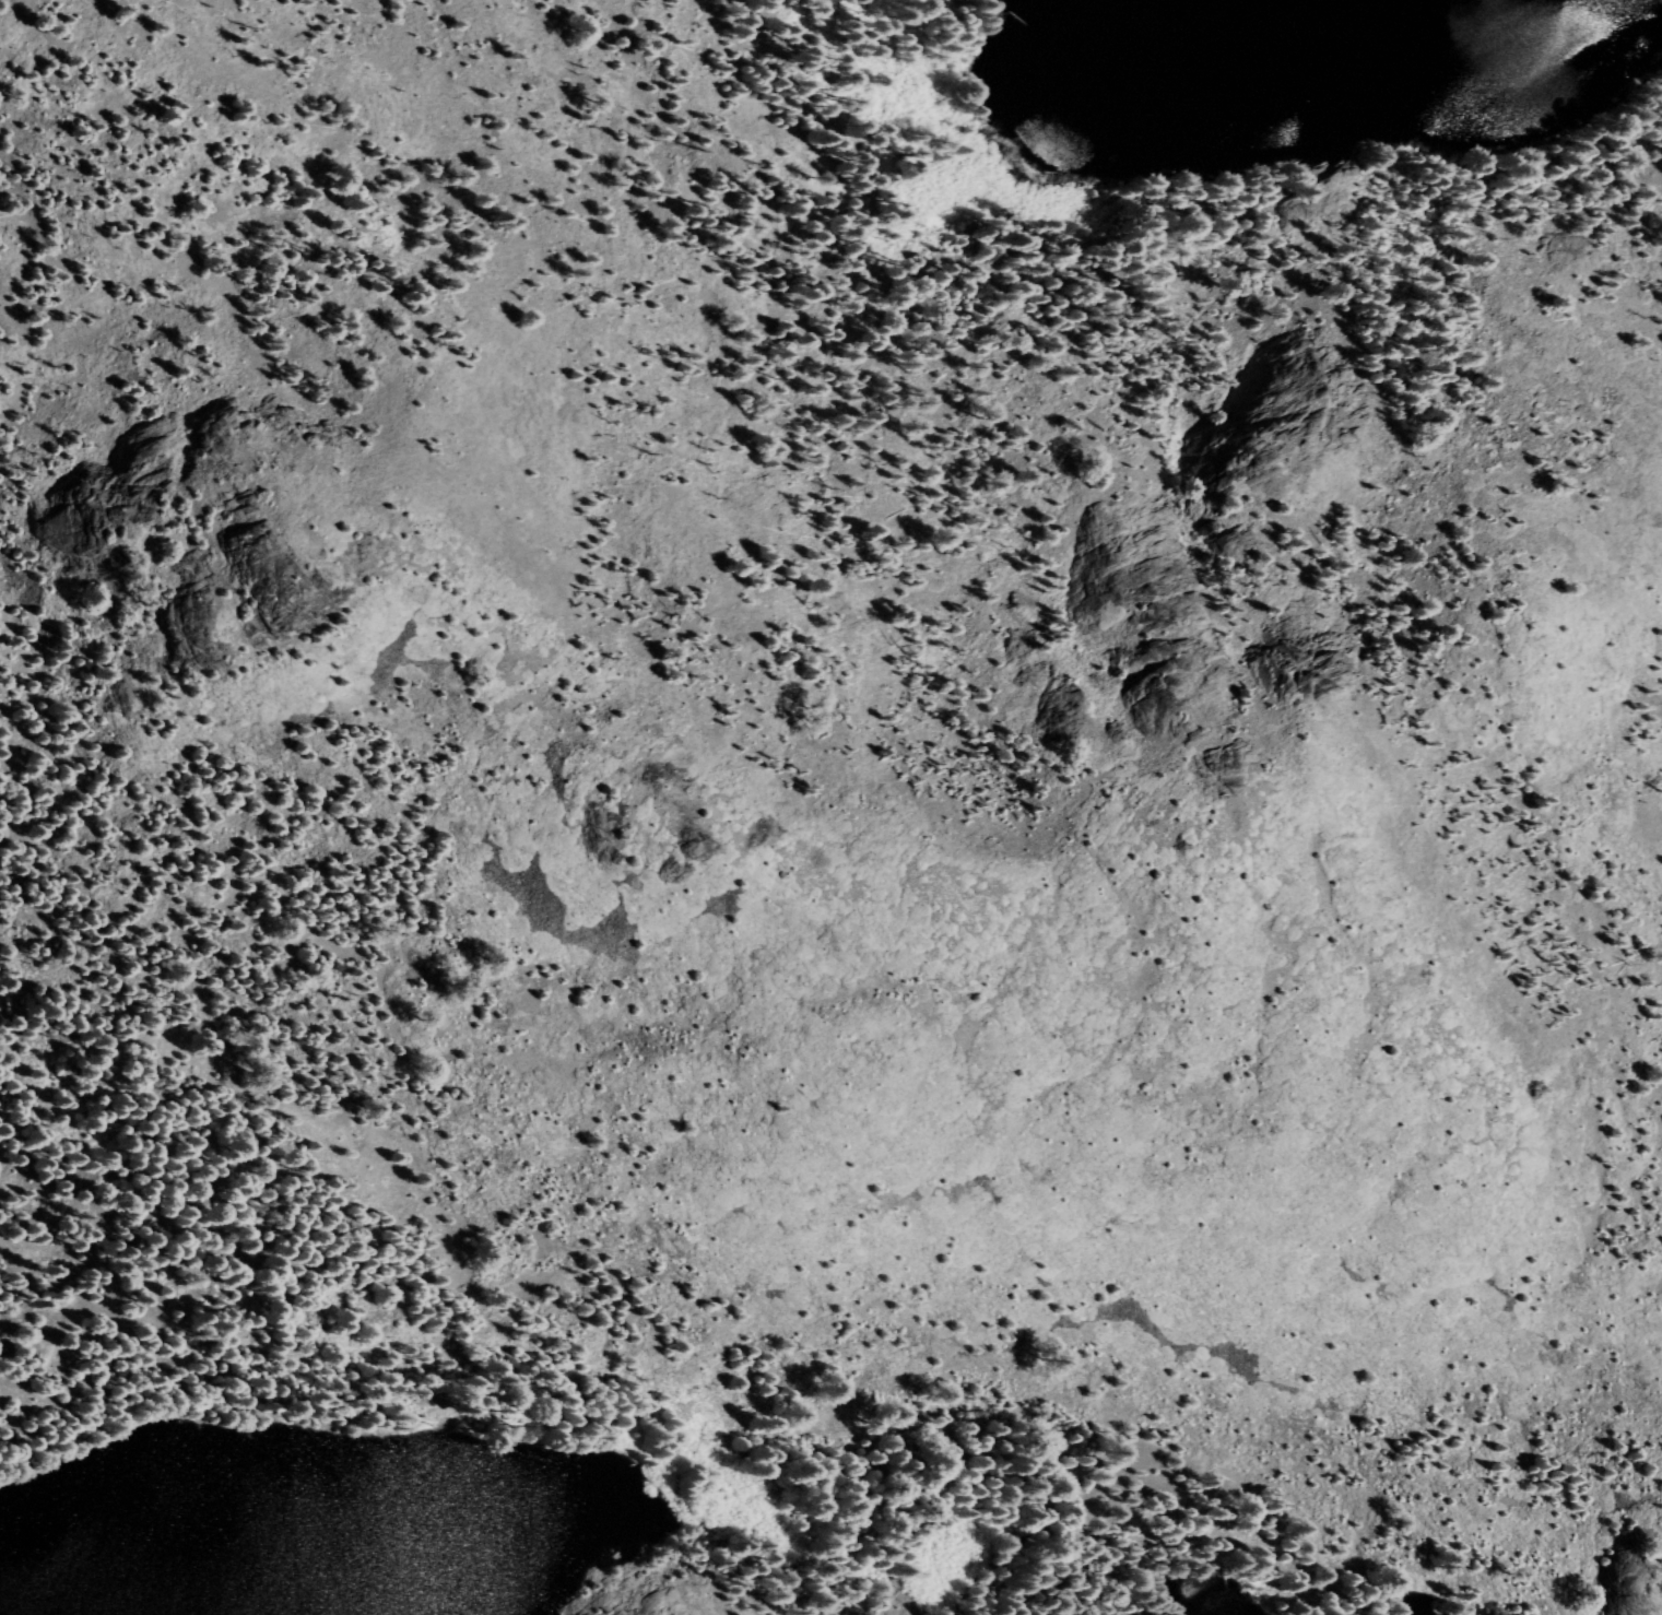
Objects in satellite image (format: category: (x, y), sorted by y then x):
road: (20, 1288)

